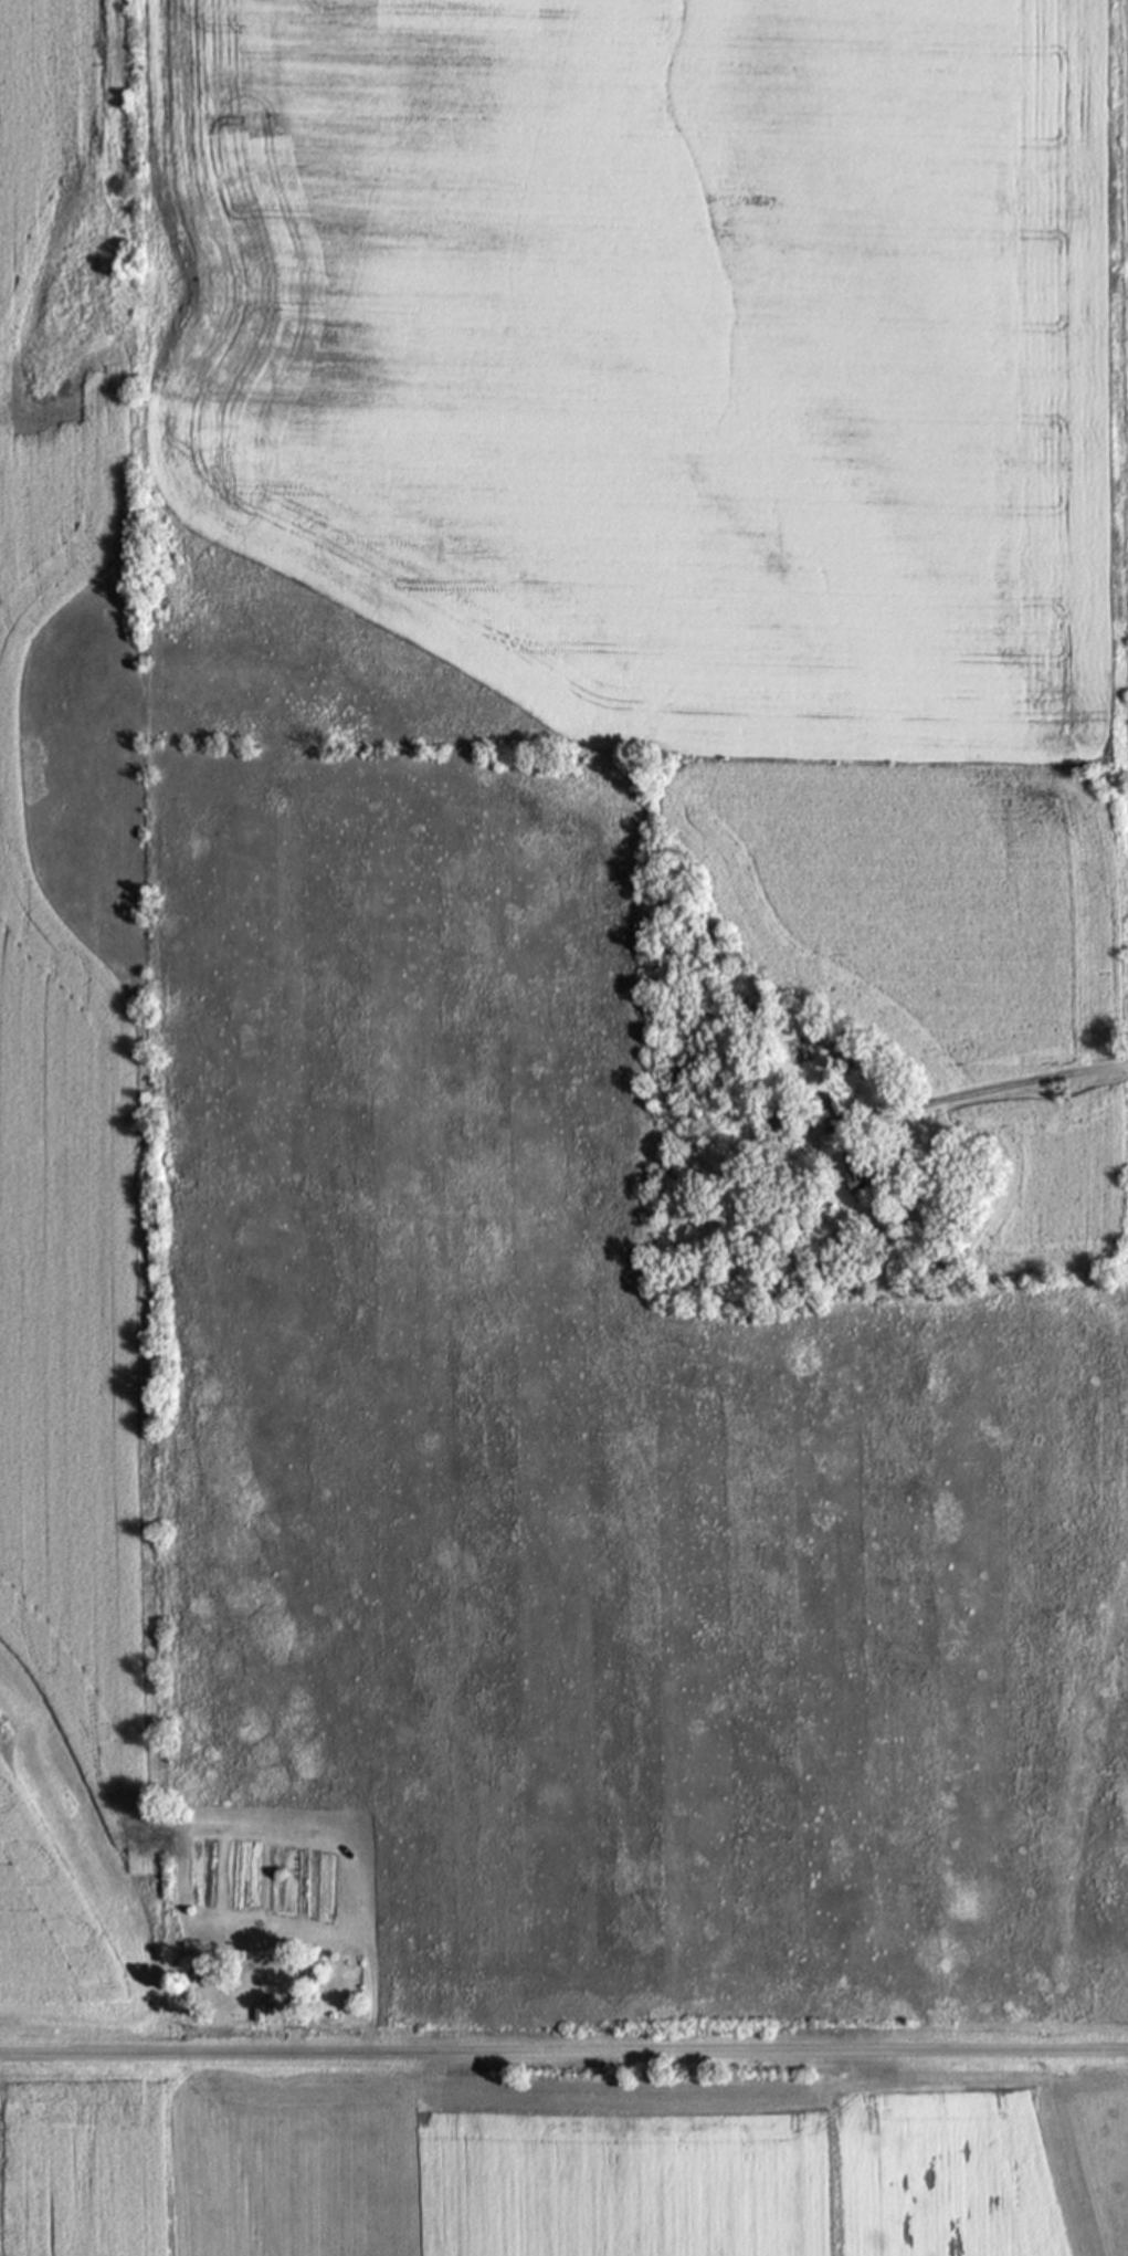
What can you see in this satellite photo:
road: (990, 1090)
building: (853, 1175)
road: (563, 2039)

